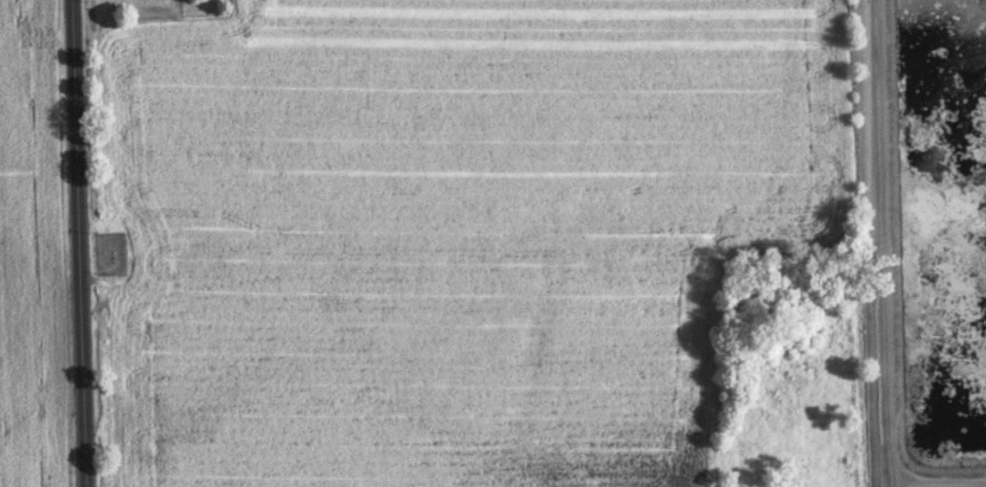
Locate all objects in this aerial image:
road: (80, 243)

